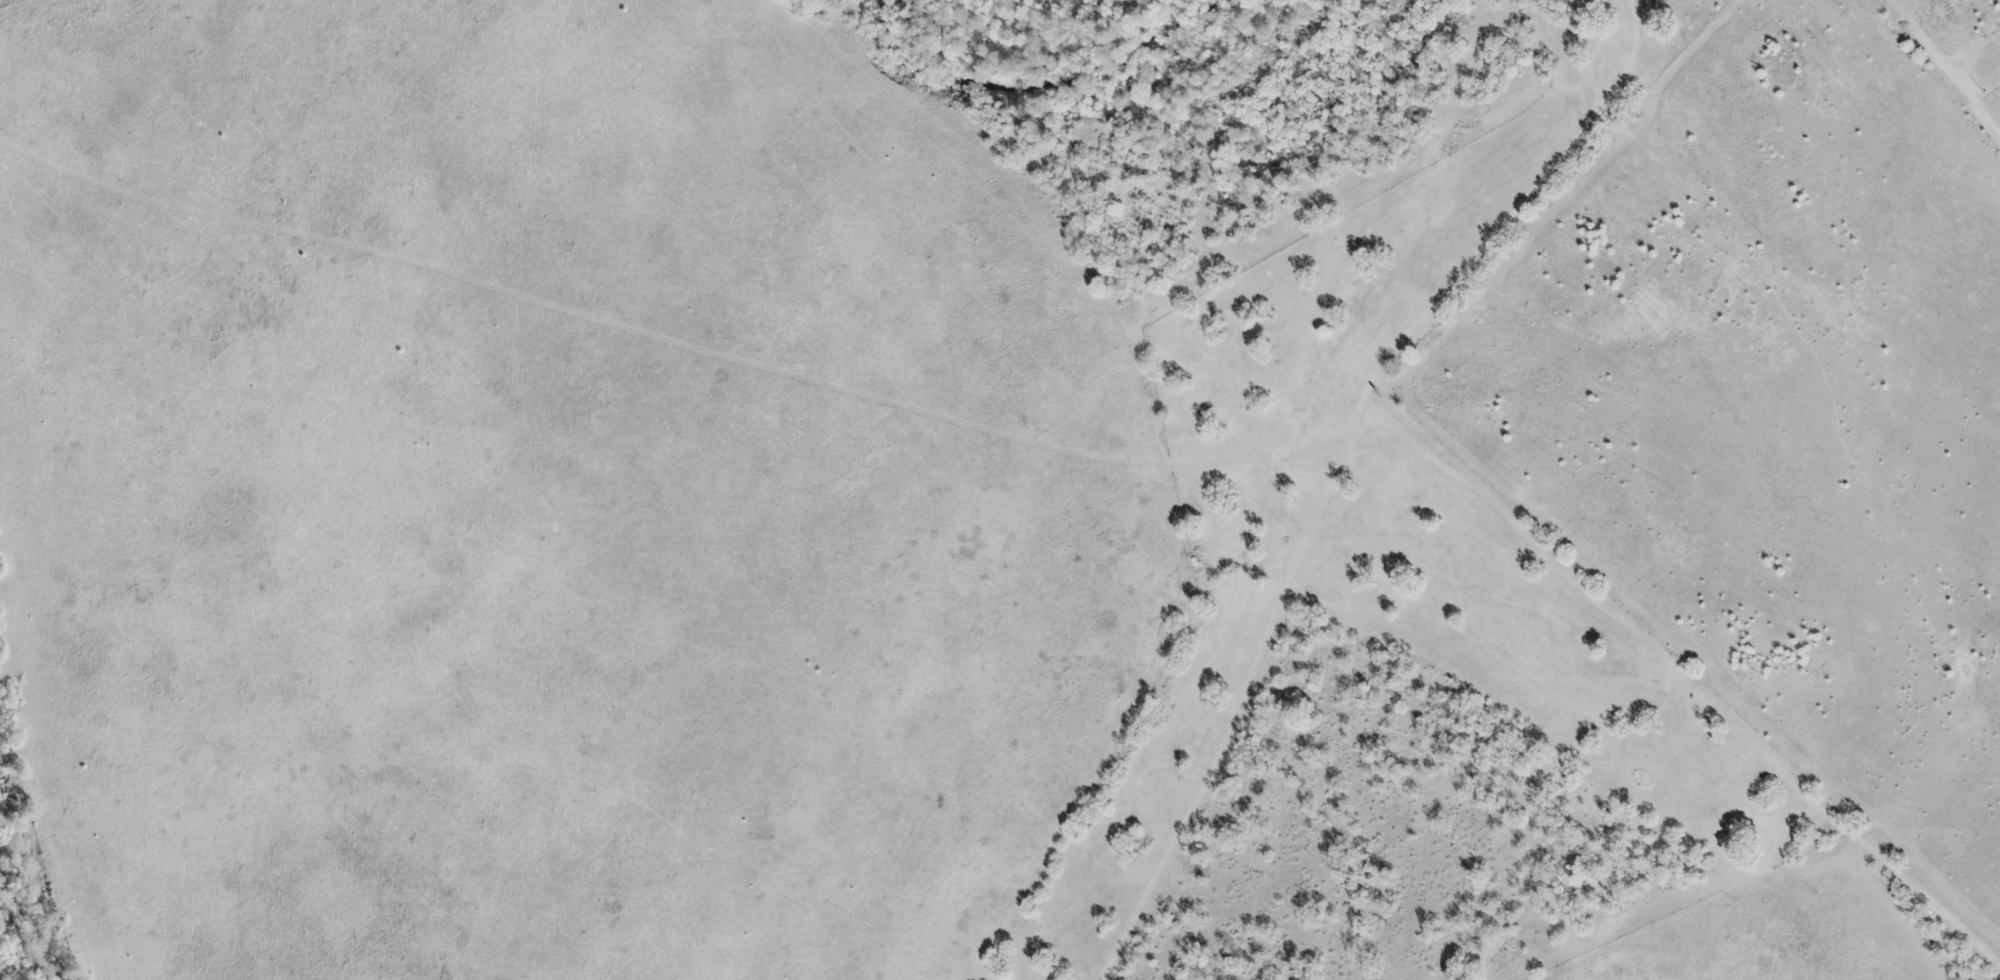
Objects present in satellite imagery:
river: (1195, 24)
river: (1001, 94)

